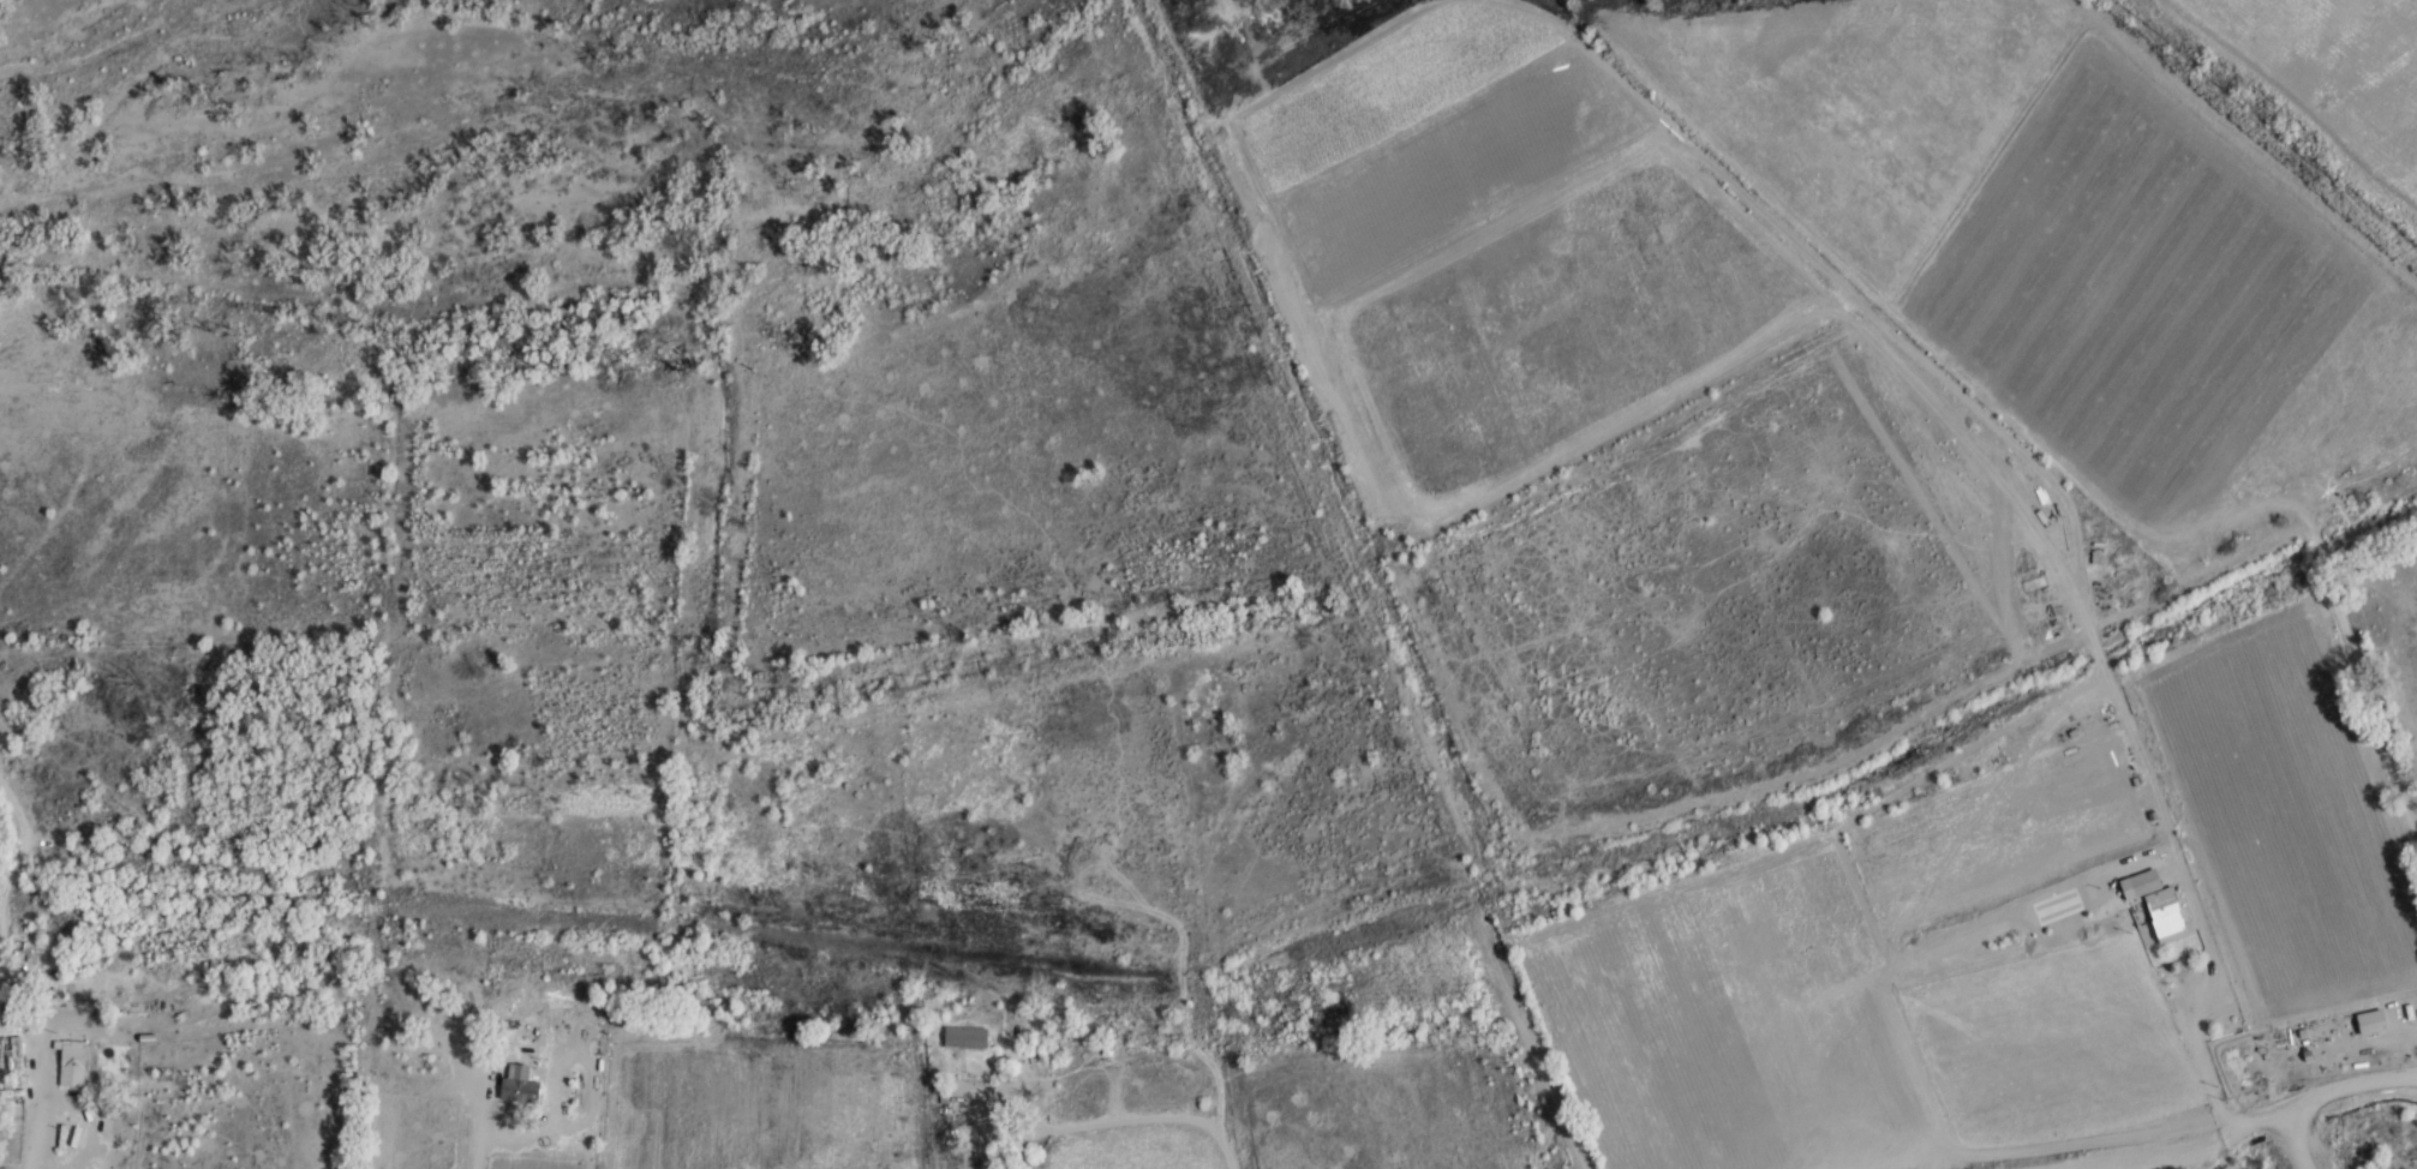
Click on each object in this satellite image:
building: (2156, 905)
building: (2371, 1023)
building: (965, 1037)
building: (2232, 1054)
building: (73, 1063)
road: (2370, 1079)
building: (520, 1084)
road: (2299, 1126)
road: (2194, 1144)

